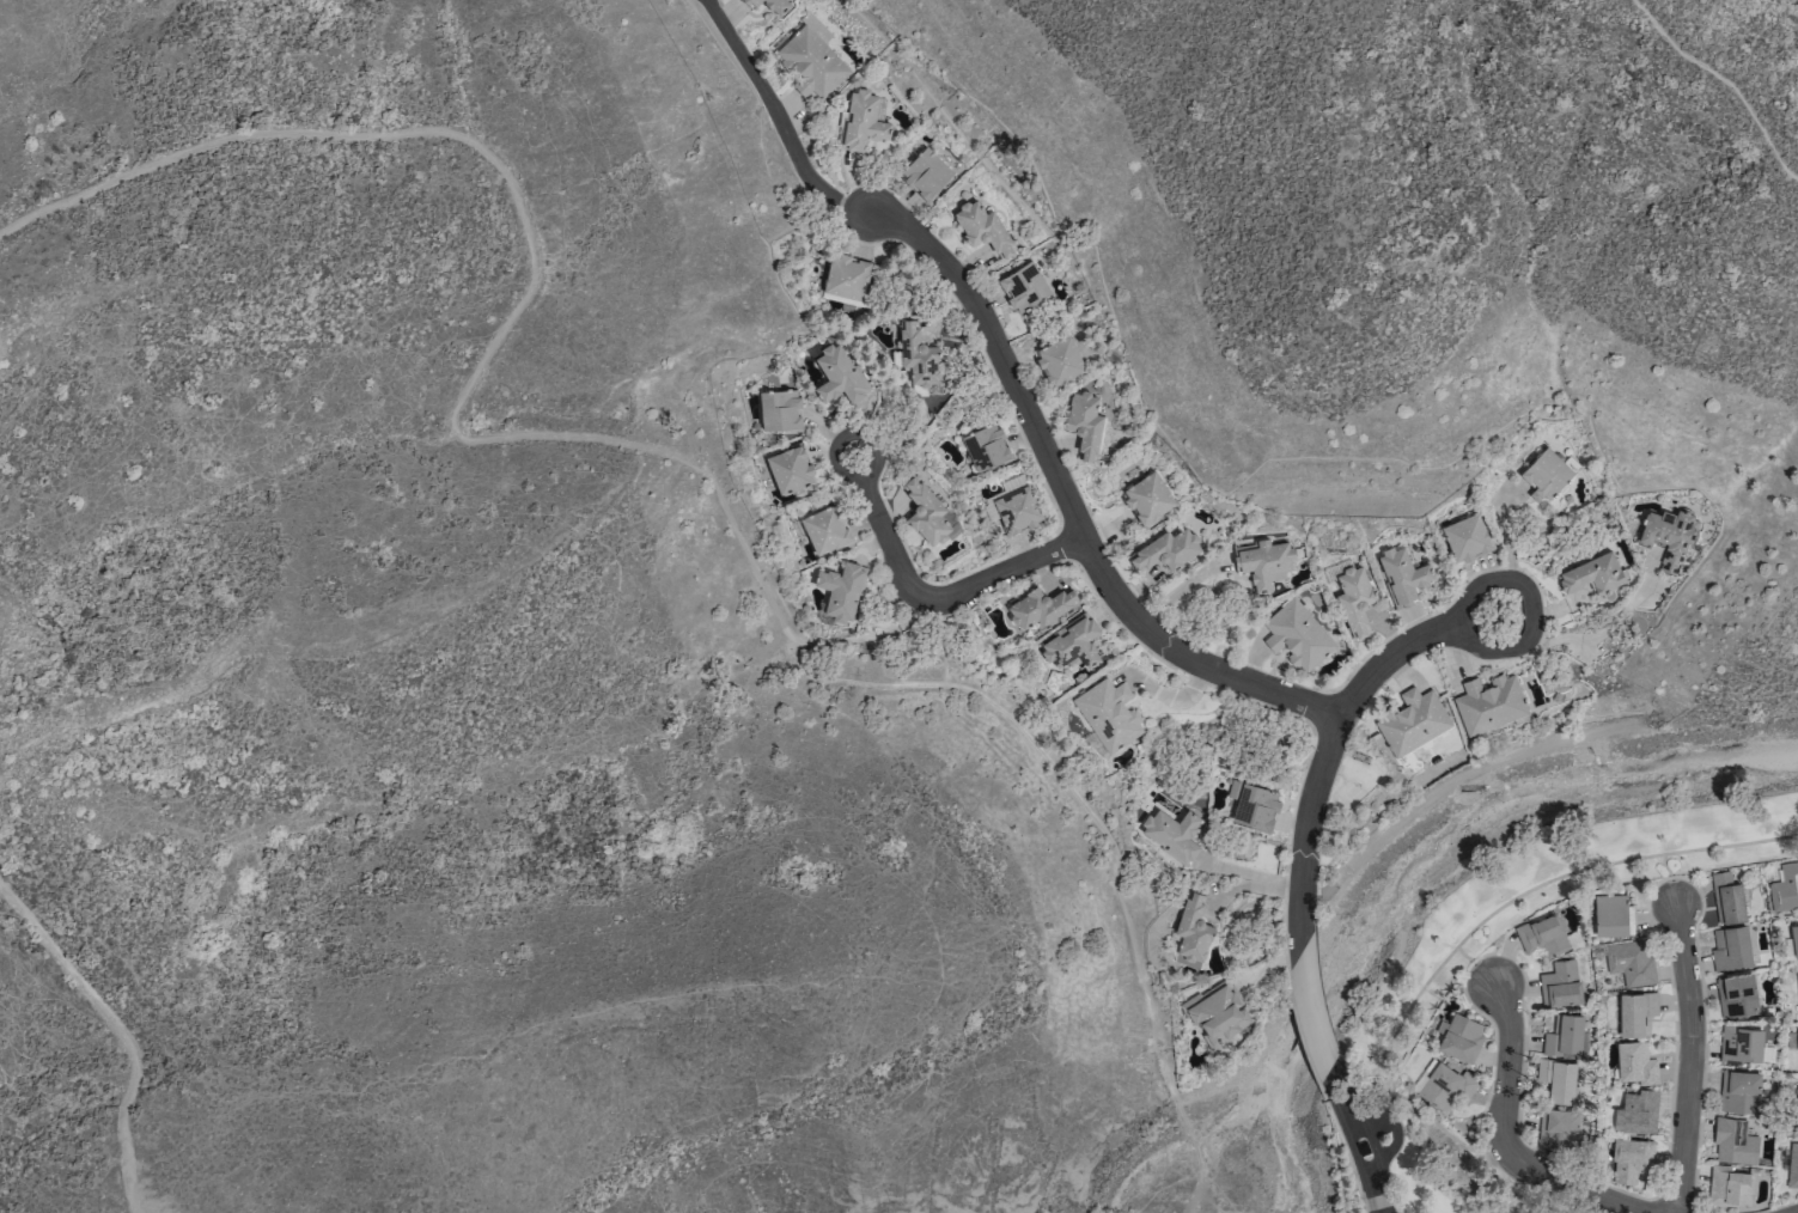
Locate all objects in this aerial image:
building: (770, 6)
building: (811, 60)
road: (1725, 80)
road: (776, 120)
building: (861, 122)
building: (926, 173)
building: (982, 228)
building: (846, 278)
building: (1023, 287)
building: (916, 356)
building: (1059, 361)
building: (836, 374)
building: (779, 412)
building: (1084, 425)
building: (986, 447)
road: (660, 456)
building: (790, 470)
building: (1544, 475)
building: (1147, 498)
road: (1065, 501)
building: (1017, 506)
building: (925, 512)
building: (825, 530)
building: (1668, 536)
building: (1465, 538)
road: (1507, 549)
building: (1165, 550)
building: (1262, 562)
building: (1402, 575)
building: (1592, 575)
building: (841, 591)
road: (926, 598)
building: (1354, 599)
building: (1041, 608)
road: (1592, 630)
building: (1297, 635)
building: (1072, 644)
building: (1488, 703)
building: (1107, 715)
building: (1413, 721)
road: (1329, 733)
building: (1252, 805)
building: (1171, 834)
road: (1669, 877)
building: (1785, 888)
building: (1726, 898)
building: (1611, 915)
road: (1487, 916)
building: (1191, 932)
building: (1541, 934)
building: (1794, 938)
building: (1731, 949)
building: (1629, 962)
road: (1473, 963)
building: (1560, 985)
building: (1736, 995)
road: (1310, 1011)
building: (1217, 1013)
building: (1637, 1013)
road: (120, 1034)
building: (1564, 1035)
building: (1459, 1037)
building: (1797, 1037)
building: (1741, 1044)
road: (1690, 1056)
road: (1505, 1062)
building: (1635, 1063)
building: (1558, 1079)
building: (1443, 1084)
building: (1739, 1091)
building: (1633, 1113)
building: (1797, 1113)
road: (1385, 1126)
building: (1558, 1128)
road: (1359, 1139)
building: (1733, 1142)
road: (1495, 1147)
building: (1629, 1159)
building: (1792, 1165)
building: (1729, 1185)
road: (1574, 1189)

